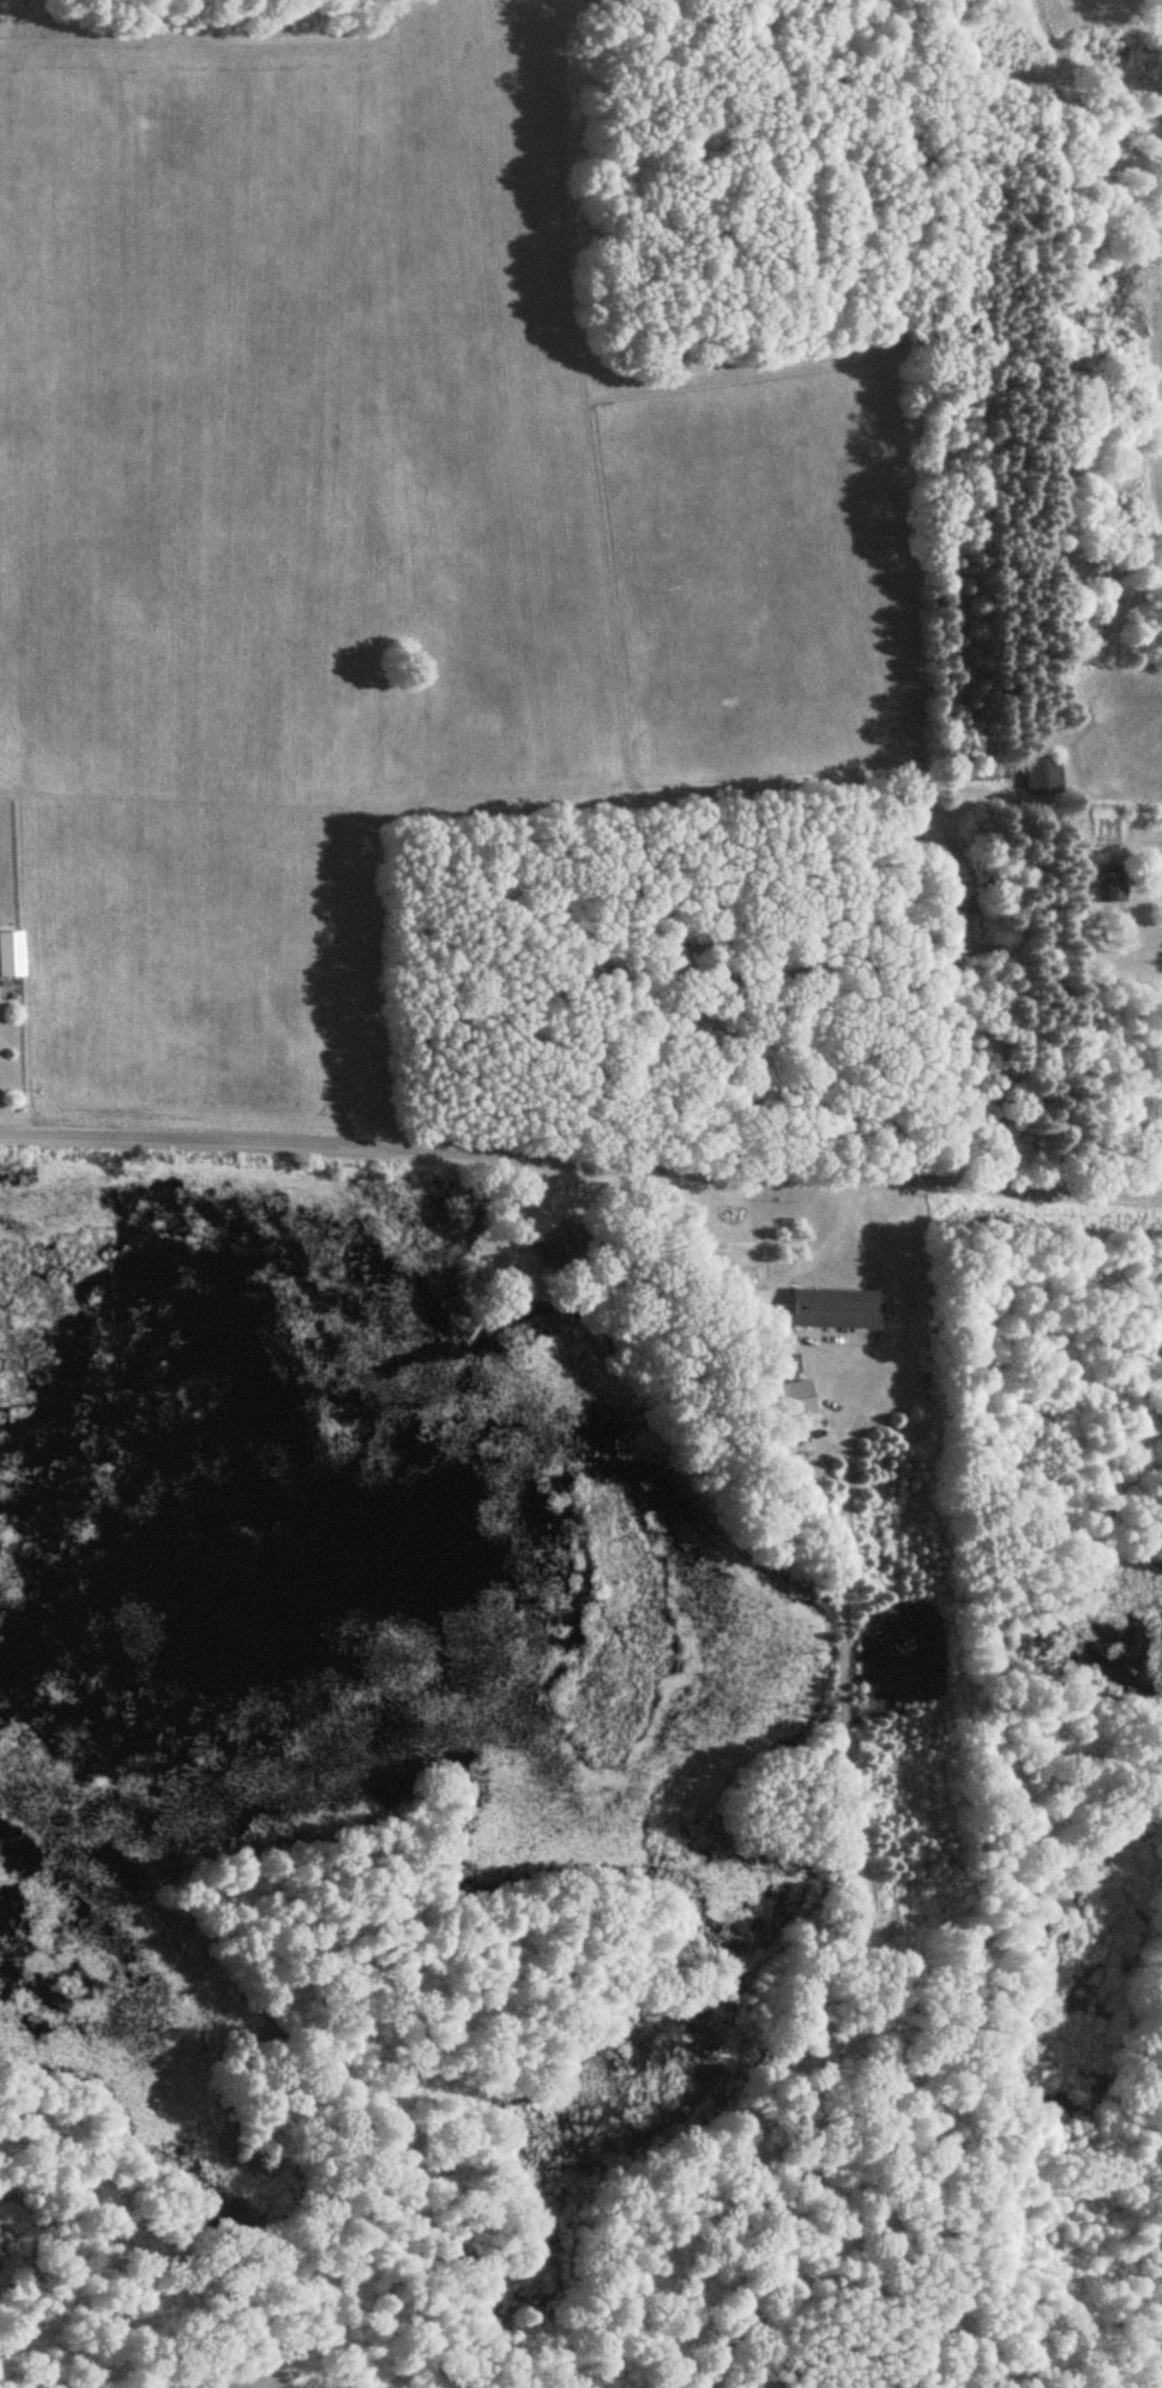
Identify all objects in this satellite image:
building: (1041, 776)
building: (1109, 884)
building: (10, 954)
road: (580, 1163)
building: (558, 1250)
building: (833, 1309)
road: (838, 1346)

